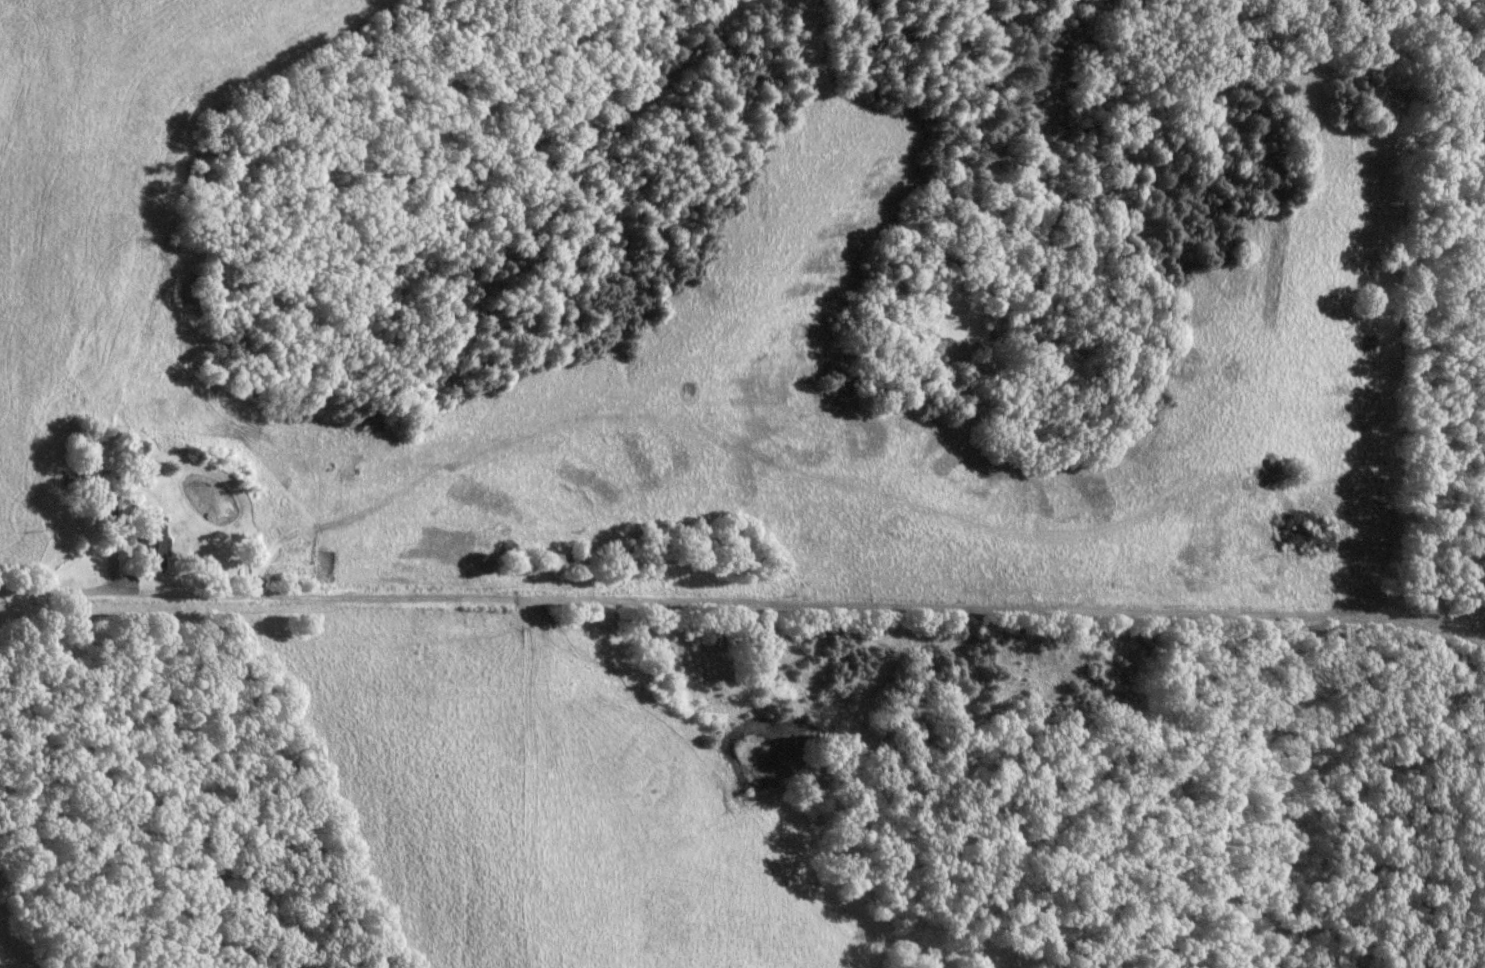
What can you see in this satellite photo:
building: (76, 480)
building: (107, 506)
building: (157, 536)
road: (56, 588)
road: (798, 598)

